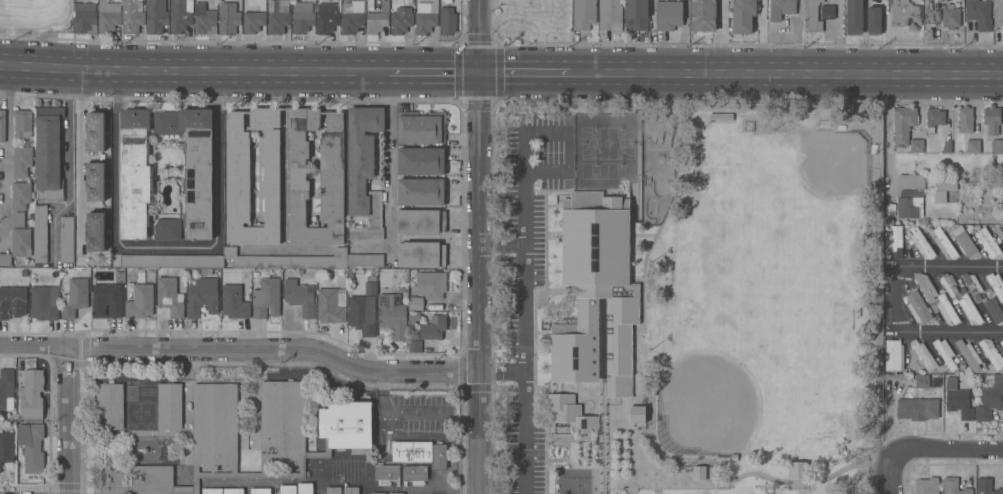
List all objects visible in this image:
building: (447, 2)
building: (781, 9)
building: (827, 12)
building: (905, 13)
building: (978, 13)
building: (999, 13)
building: (583, 14)
building: (610, 14)
building: (636, 14)
building: (669, 14)
building: (703, 15)
building: (813, 15)
building: (108, 16)
building: (132, 16)
building: (155, 16)
building: (180, 16)
building: (278, 16)
building: (352, 16)
building: (743, 16)
building: (327, 17)
building: (854, 17)
building: (951, 17)
building: (85, 18)
building: (228, 18)
building: (302, 18)
building: (426, 18)
building: (377, 19)
building: (204, 20)
building: (874, 20)
building: (254, 21)
building: (401, 21)
building: (447, 21)
road: (719, 37)
road: (839, 37)
road: (193, 70)
road: (435, 71)
traffic signals: (483, 72)
road: (537, 73)
road: (797, 74)
road: (685, 109)
building: (721, 117)
building: (934, 119)
building: (992, 119)
building: (965, 120)
building: (23, 123)
building: (903, 124)
building: (746, 125)
building: (2, 126)
building: (421, 128)
building: (94, 131)
road: (69, 138)
road: (885, 141)
building: (916, 146)
building: (973, 146)
park: (604, 147)
building: (947, 147)
building: (997, 147)
road: (6, 154)
building: (48, 154)
park: (830, 159)
road: (285, 160)
building: (21, 161)
building: (422, 161)
building: (193, 164)
road: (389, 164)
park: (656, 167)
building: (238, 169)
building: (363, 171)
building: (136, 173)
building: (95, 182)
building: (942, 190)
building: (422, 192)
building: (20, 196)
building: (945, 196)
building: (910, 197)
building: (18, 220)
building: (421, 222)
building: (168, 230)
building: (95, 232)
building: (40, 234)
building: (1002, 234)
building: (67, 240)
building: (893, 242)
building: (964, 242)
building: (21, 243)
building: (921, 243)
building: (943, 243)
building: (988, 243)
road: (484, 247)
road: (165, 248)
building: (421, 254)
road: (522, 256)
building: (102, 259)
building: (5, 260)
building: (252, 261)
road: (950, 267)
building: (947, 284)
building: (430, 285)
parking lot: (526, 285)
building: (996, 285)
building: (925, 286)
building: (973, 286)
building: (371, 289)
building: (404, 290)
building: (596, 294)
building: (170, 296)
building: (74, 297)
building: (202, 297)
building: (300, 297)
park: (685, 297)
building: (266, 298)
building: (107, 301)
building: (236, 301)
building: (12, 302)
building: (140, 302)
building: (45, 303)
building: (416, 303)
building: (1002, 304)
building: (331, 305)
building: (435, 308)
building: (918, 308)
building: (933, 308)
building: (946, 309)
building: (969, 309)
building: (994, 311)
building: (362, 314)
building: (393, 316)
building: (415, 317)
building: (432, 328)
road: (923, 332)
building: (1001, 344)
building: (414, 346)
road: (245, 350)
building: (945, 353)
building: (968, 354)
building: (894, 355)
building: (923, 355)
building: (992, 355)
building: (959, 358)
building: (921, 381)
building: (7, 389)
building: (31, 396)
building: (958, 400)
building: (990, 400)
building: (109, 405)
park: (705, 405)
building: (170, 406)
building: (917, 409)
road: (397, 410)
building: (637, 414)
building: (569, 416)
road: (67, 420)
building: (345, 423)
road: (524, 434)
building: (32, 446)
building: (6, 448)
road: (945, 450)
building: (420, 453)
building: (726, 458)
building: (798, 470)
road: (888, 472)
building: (699, 473)
building: (386, 474)
building: (414, 475)
building: (926, 486)
building: (954, 486)
building: (987, 486)
building: (305, 488)
building: (288, 489)
building: (350, 489)
building: (333, 490)
building: (223, 491)
building: (260, 491)
building: (378, 493)
building: (395, 493)

